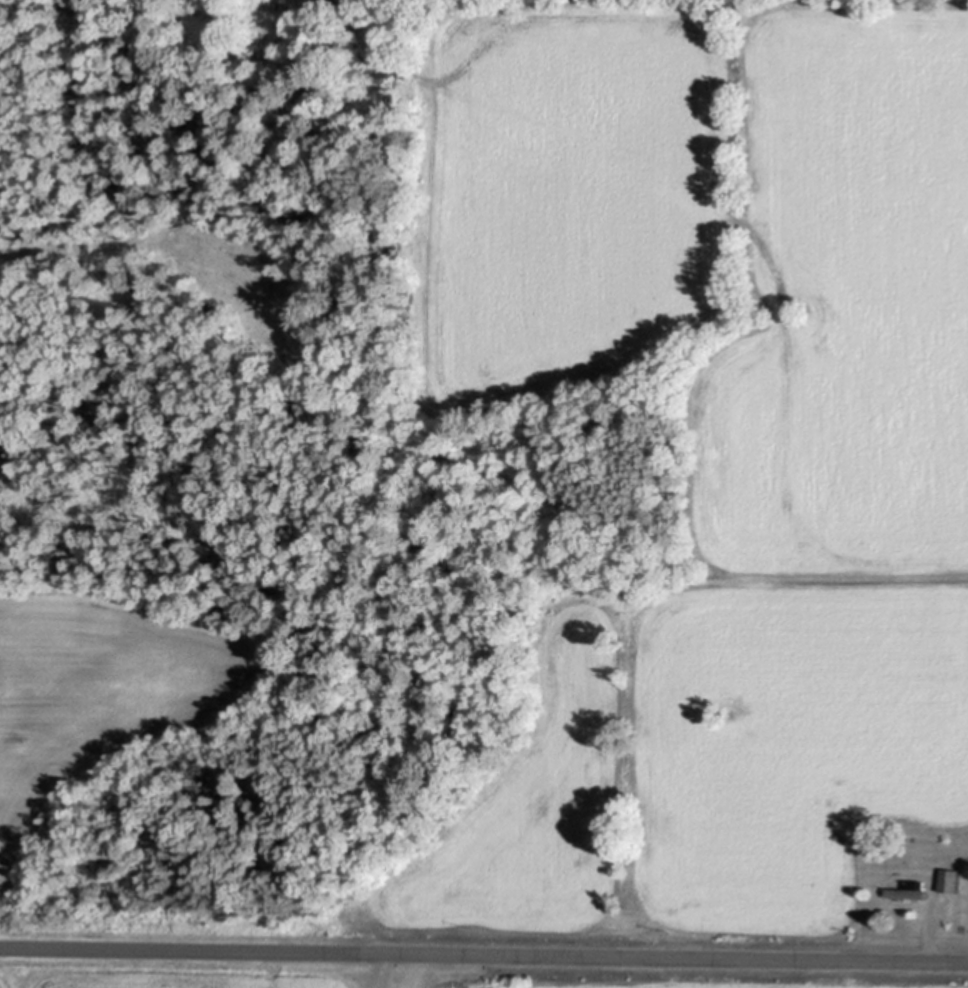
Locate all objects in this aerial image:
building: (951, 878)
building: (911, 890)
road: (484, 948)

